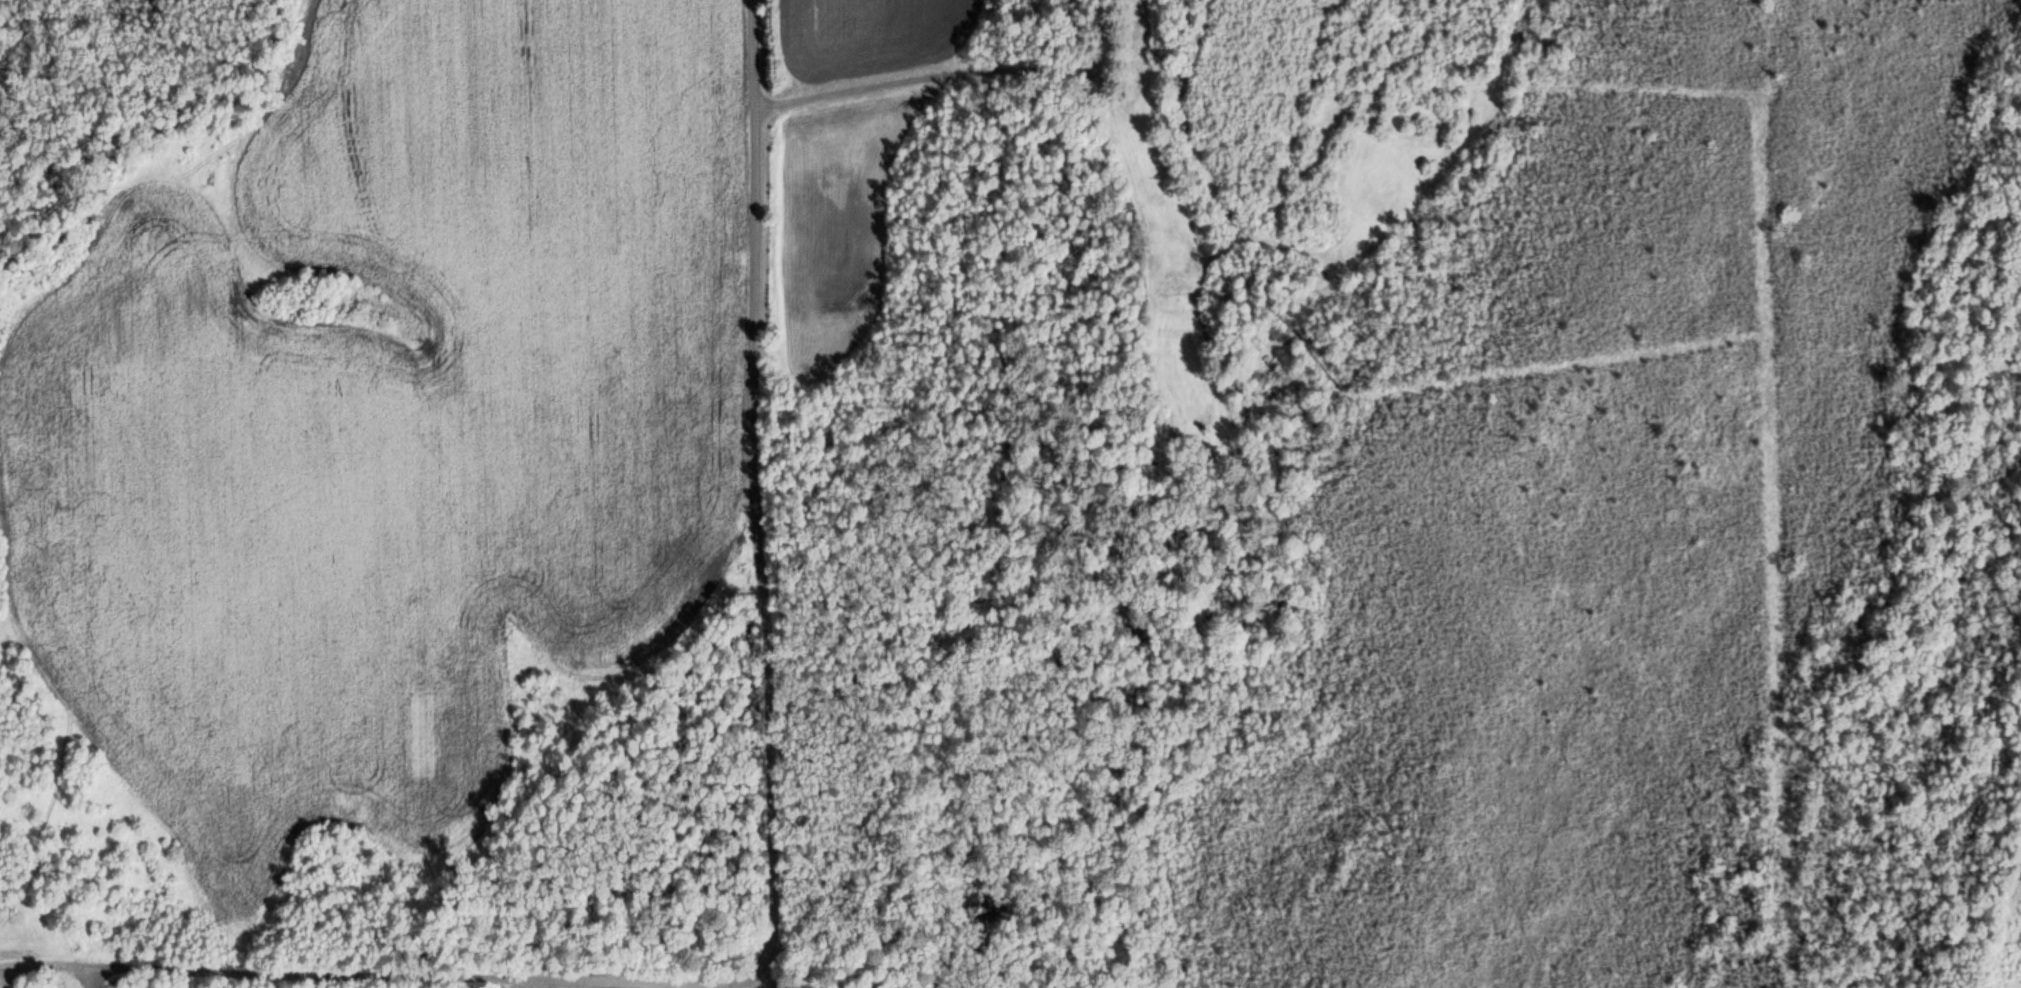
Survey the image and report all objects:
road: (766, 867)

